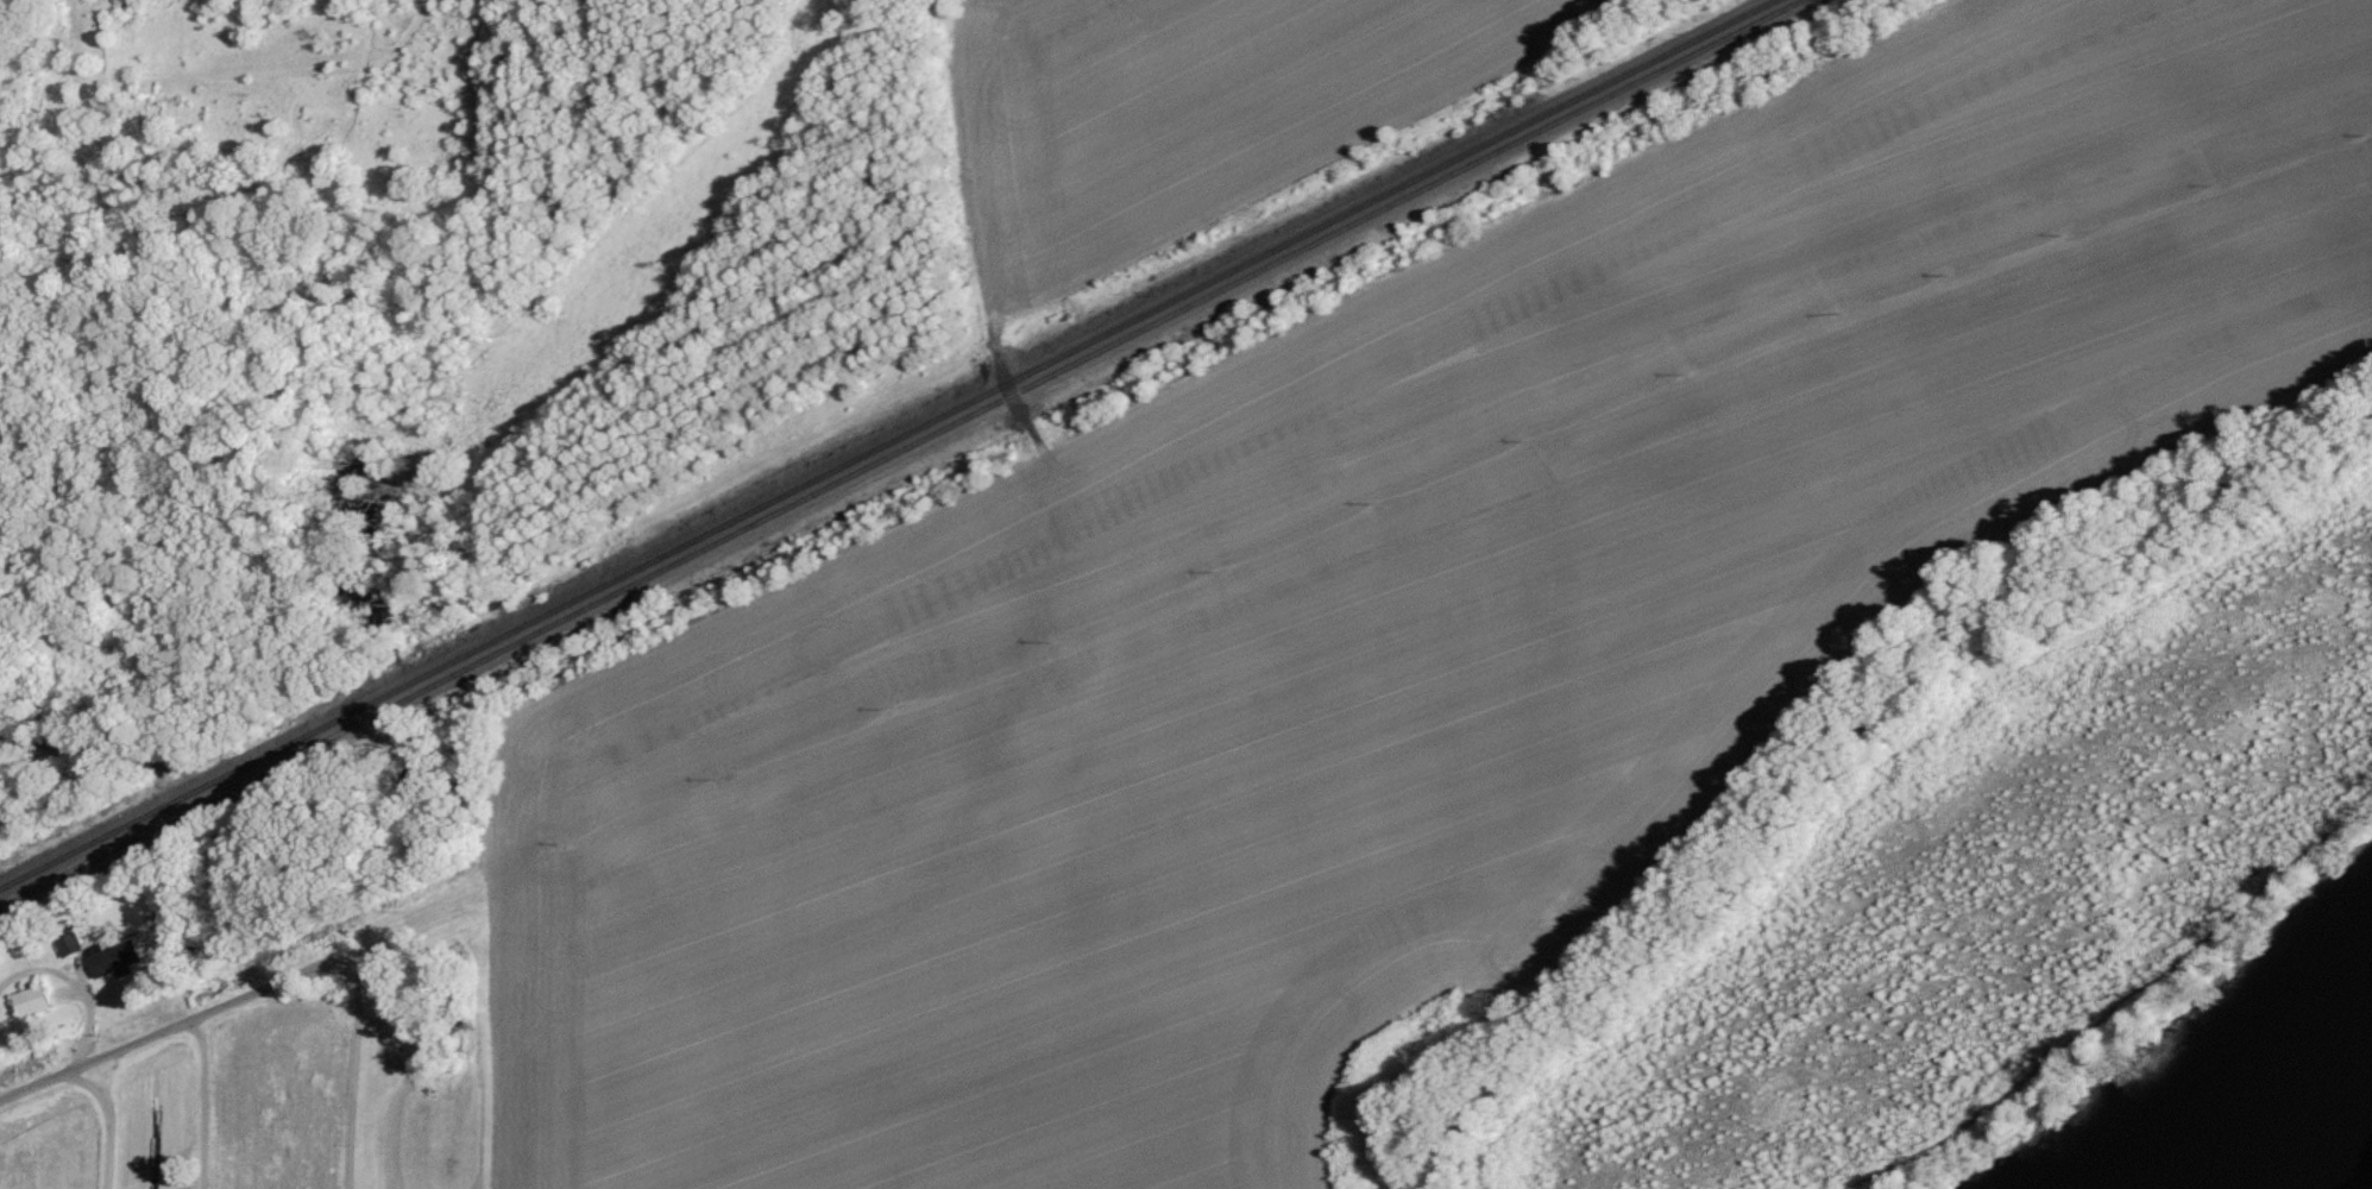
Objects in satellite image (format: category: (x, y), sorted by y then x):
railway: (886, 440)
railway: (899, 453)
building: (115, 957)
road: (77, 987)
building: (33, 1000)
road: (157, 1038)
road: (356, 1064)
road: (207, 1103)
river: (2272, 1103)
road: (108, 1122)

